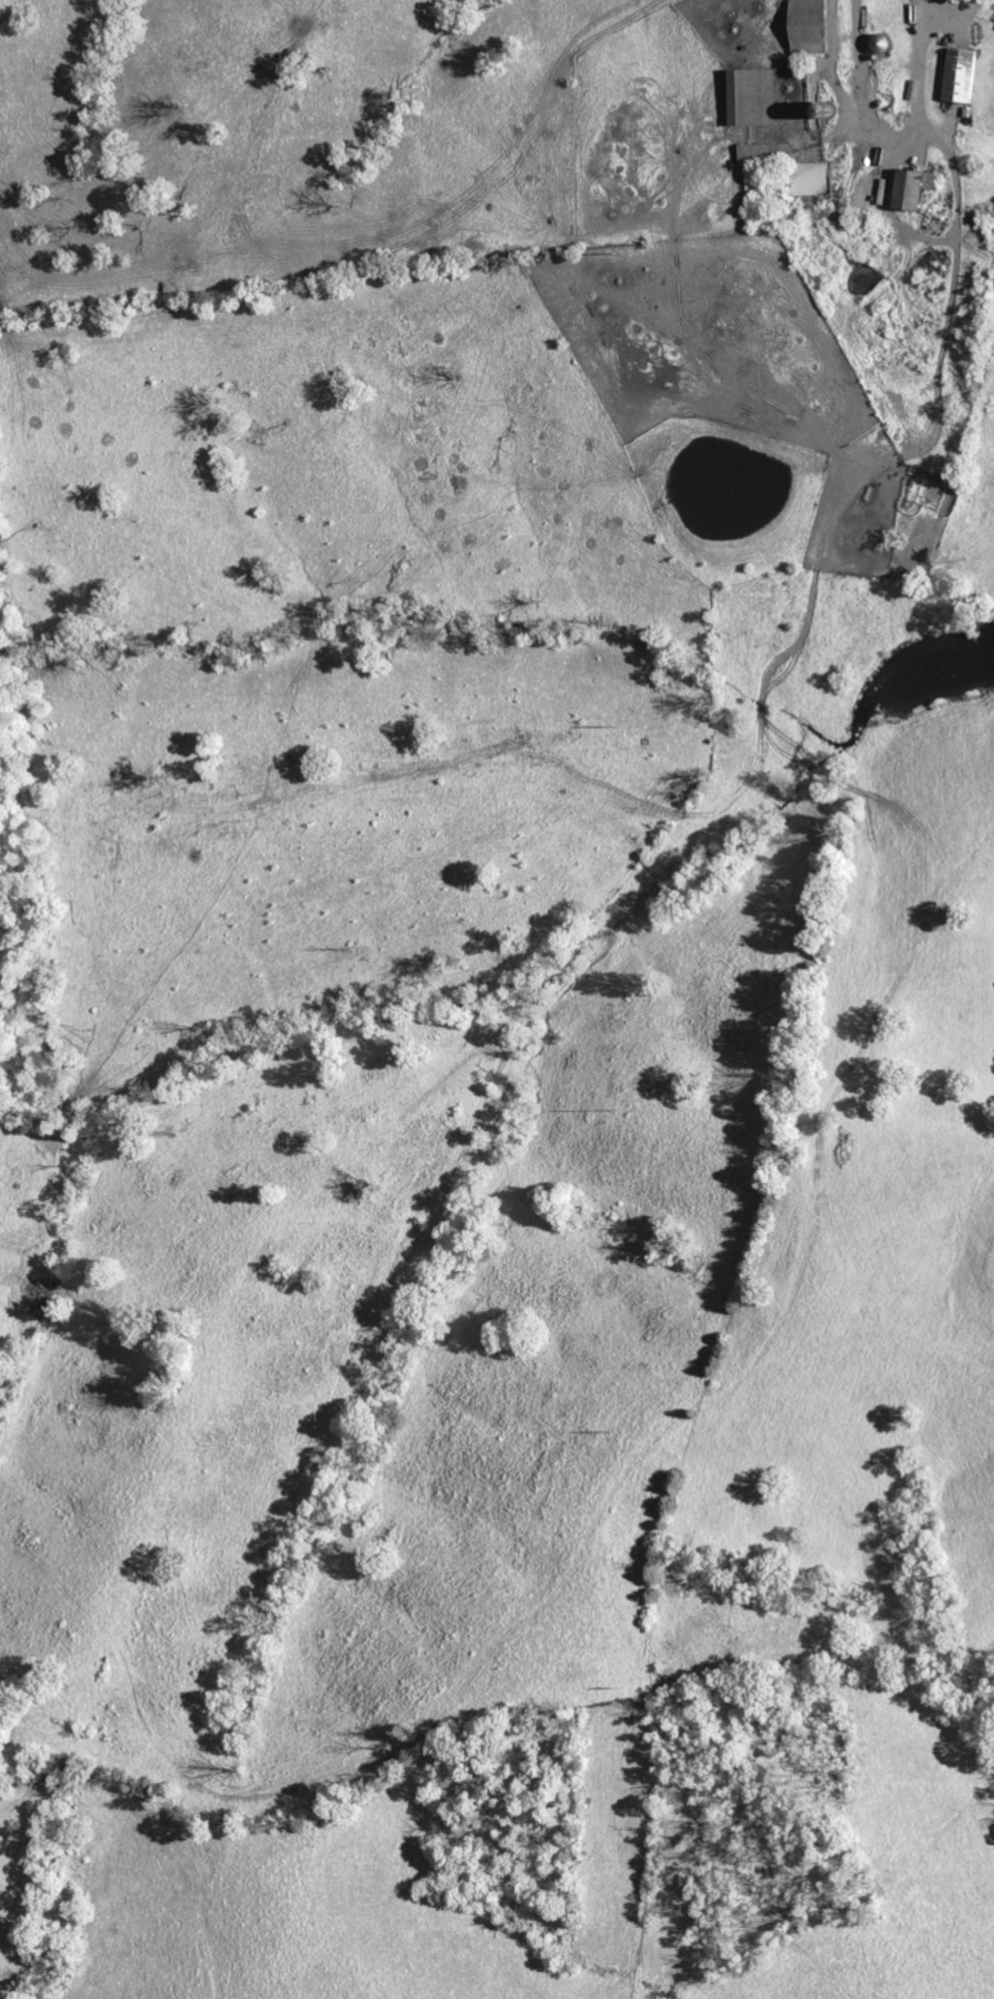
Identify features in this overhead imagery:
building: (803, 26)
building: (955, 75)
building: (760, 151)
building: (904, 189)

